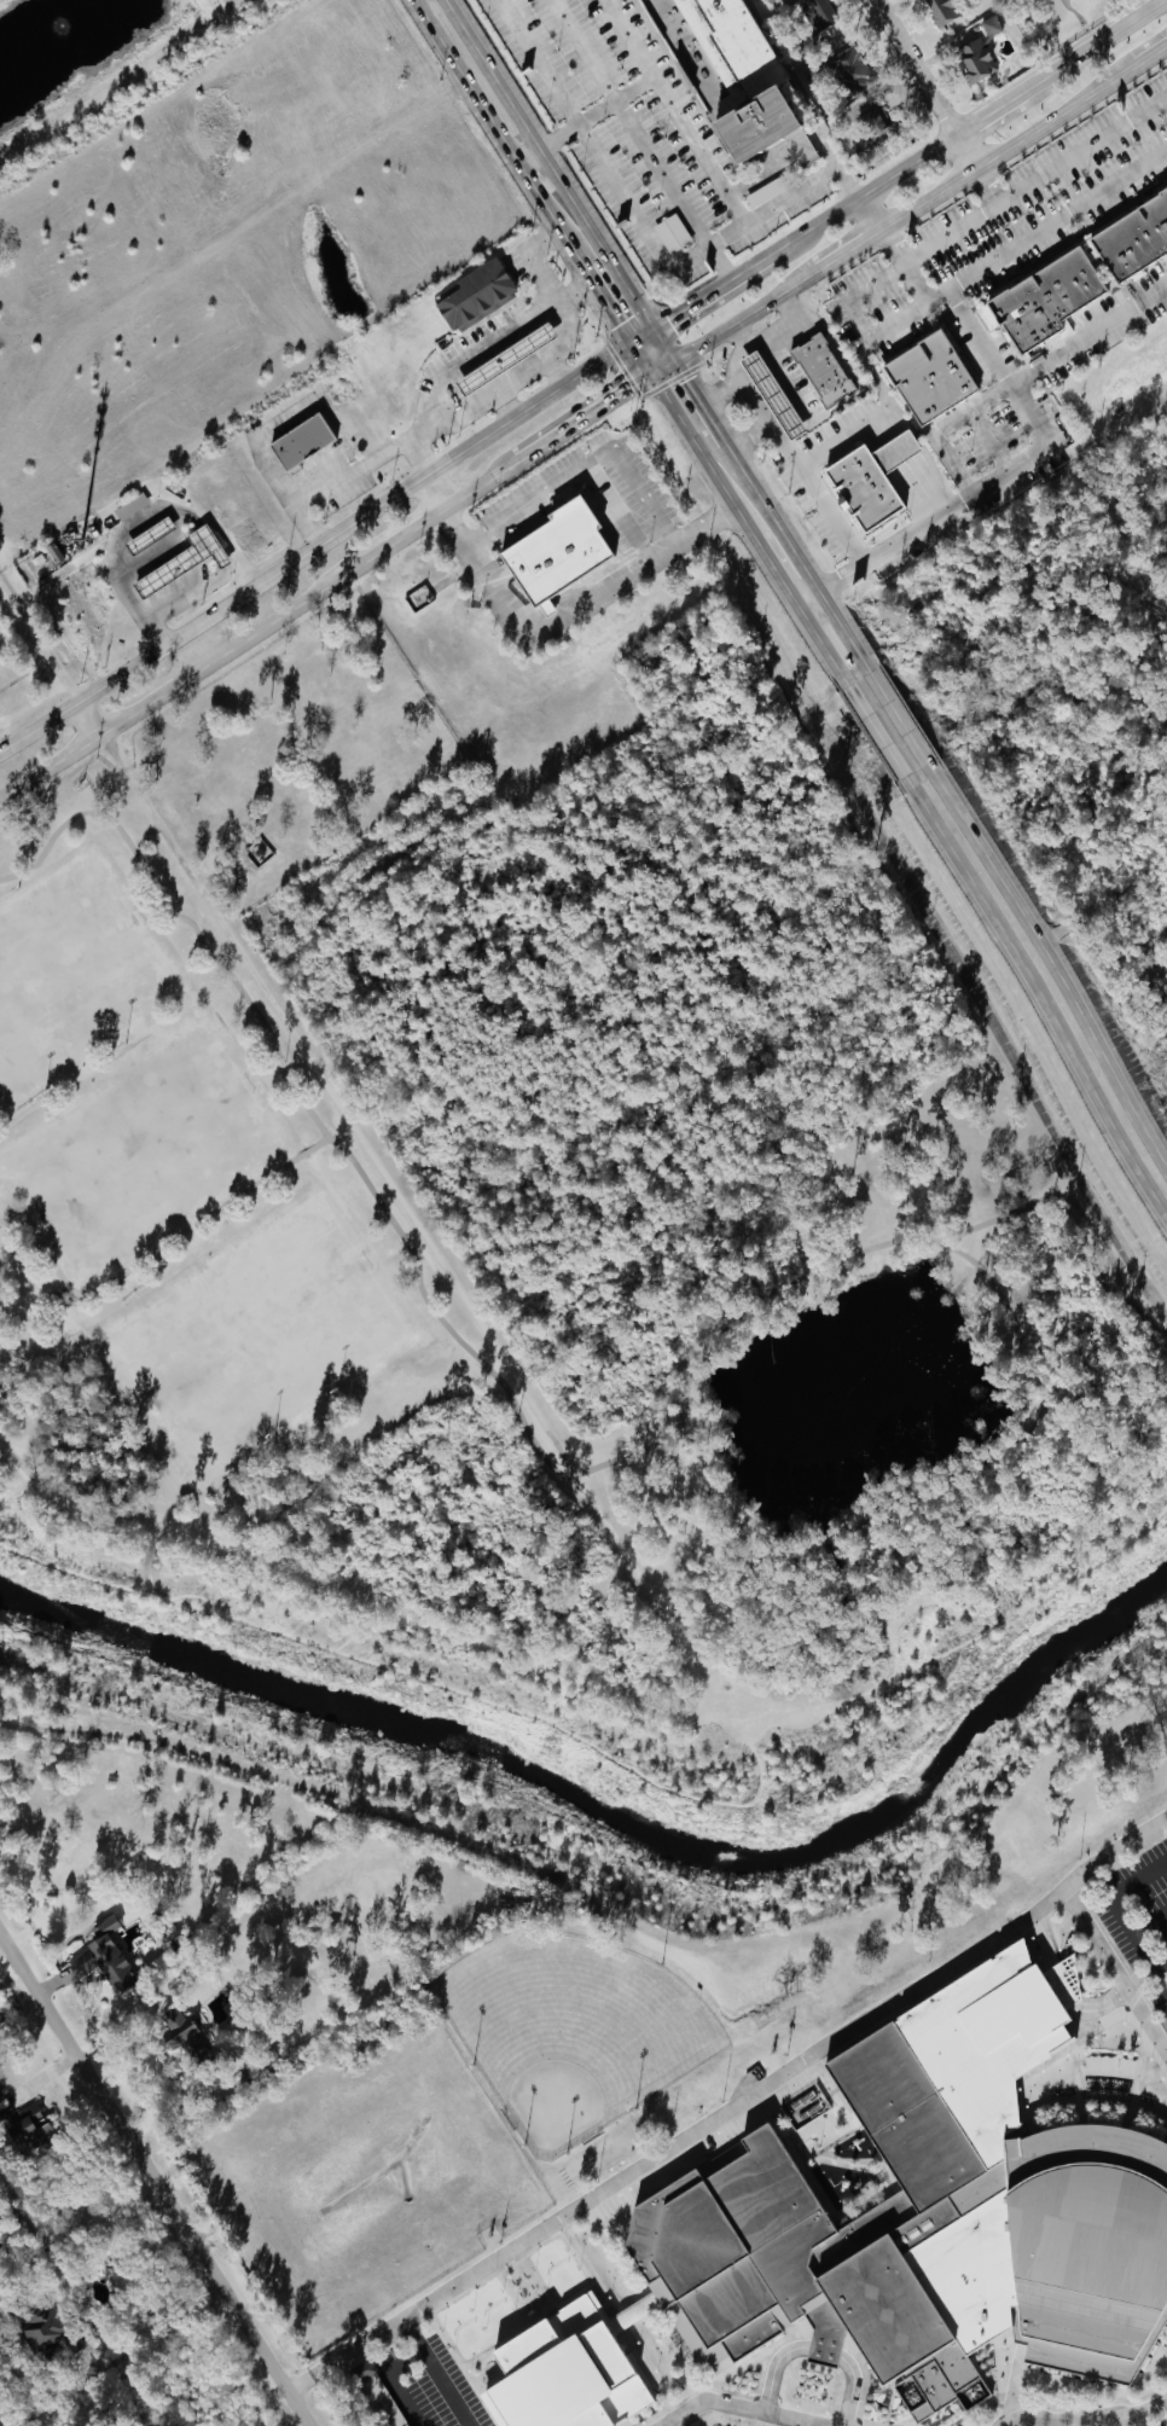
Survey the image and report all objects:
building: (946, 10)
building: (818, 25)
road: (1091, 46)
building: (980, 51)
road: (1154, 53)
park: (85, 58)
building: (852, 71)
building: (726, 74)
road: (925, 82)
road: (110, 83)
road: (1163, 105)
road: (683, 109)
road: (604, 111)
road: (987, 112)
building: (872, 120)
road: (495, 130)
road: (645, 139)
road: (1006, 145)
road: (530, 157)
road: (610, 170)
road: (562, 180)
road: (1033, 180)
road: (985, 185)
building: (768, 190)
road: (867, 193)
road: (1057, 226)
building: (673, 232)
building: (1134, 238)
road: (846, 249)
road: (901, 268)
road: (744, 272)
building: (475, 294)
building: (1046, 298)
road: (604, 302)
road: (681, 310)
road: (744, 314)
road: (779, 325)
traffic signals: (651, 330)
road: (640, 336)
road: (1087, 336)
road: (493, 342)
traffic signals: (629, 343)
road: (547, 358)
traffic signals: (673, 362)
road: (661, 368)
building: (821, 370)
road: (555, 372)
road: (788, 375)
traffic signals: (650, 376)
building: (929, 376)
road: (621, 391)
road: (692, 393)
road: (718, 393)
road: (883, 393)
building: (771, 395)
road: (509, 402)
road: (1087, 418)
road: (942, 428)
building: (301, 440)
road: (749, 440)
road: (987, 440)
road: (691, 441)
road: (783, 448)
road: (516, 458)
road: (583, 466)
building: (871, 480)
road: (338, 482)
building: (132, 505)
road: (934, 515)
road: (412, 527)
building: (152, 533)
road: (786, 540)
road: (314, 549)
building: (555, 552)
building: (184, 559)
road: (774, 574)
road: (123, 581)
road: (172, 598)
road: (807, 599)
road: (535, 627)
road: (814, 637)
road: (192, 672)
road: (896, 715)
road: (91, 718)
road: (872, 729)
road: (1053, 967)
park: (70, 975)
road: (1043, 1002)
road: (288, 1083)
road: (370, 1145)
park: (140, 1149)
park: (207, 1182)
road: (1076, 1212)
park: (256, 1335)
road: (478, 1357)
road: (685, 1412)
road: (801, 1548)
road: (679, 1635)
road: (469, 1638)
road: (626, 1755)
river: (644, 1797)
road: (1117, 1915)
parking lot: (1139, 1915)
road: (1149, 1923)
building: (106, 1954)
road: (1114, 1973)
road: (1145, 1977)
road: (1057, 1990)
road: (1124, 2010)
park: (571, 2031)
building: (182, 2032)
road: (730, 2108)
building: (30, 2128)
road: (152, 2180)
building: (895, 2227)
building: (46, 2327)
road: (818, 2350)
building: (365, 2369)
road: (434, 2372)
road: (388, 2381)
parking lot: (422, 2386)
road: (865, 2391)
road: (59, 2404)
road: (742, 2407)
road: (5, 2416)
road: (1084, 2421)
road: (1116, 2422)
parking lot: (1159, 2422)
parking lot: (715, 2424)

